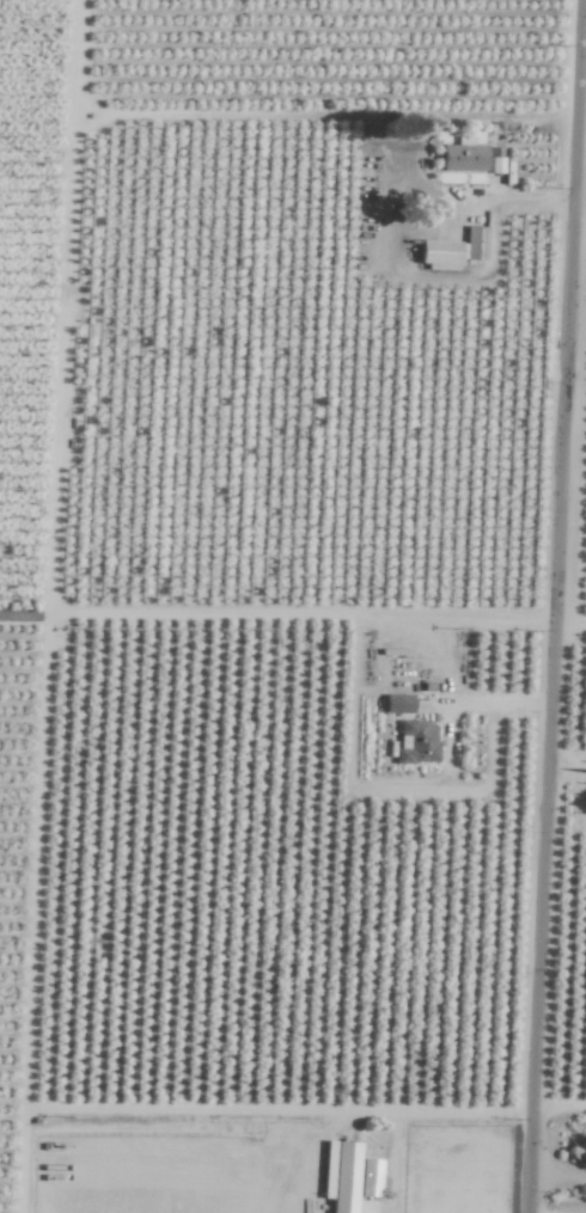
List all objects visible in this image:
building: (465, 158)
road: (518, 196)
building: (441, 253)
road: (562, 606)
building: (399, 704)
building: (417, 741)
road: (570, 766)
road: (446, 1113)
building: (356, 1180)

